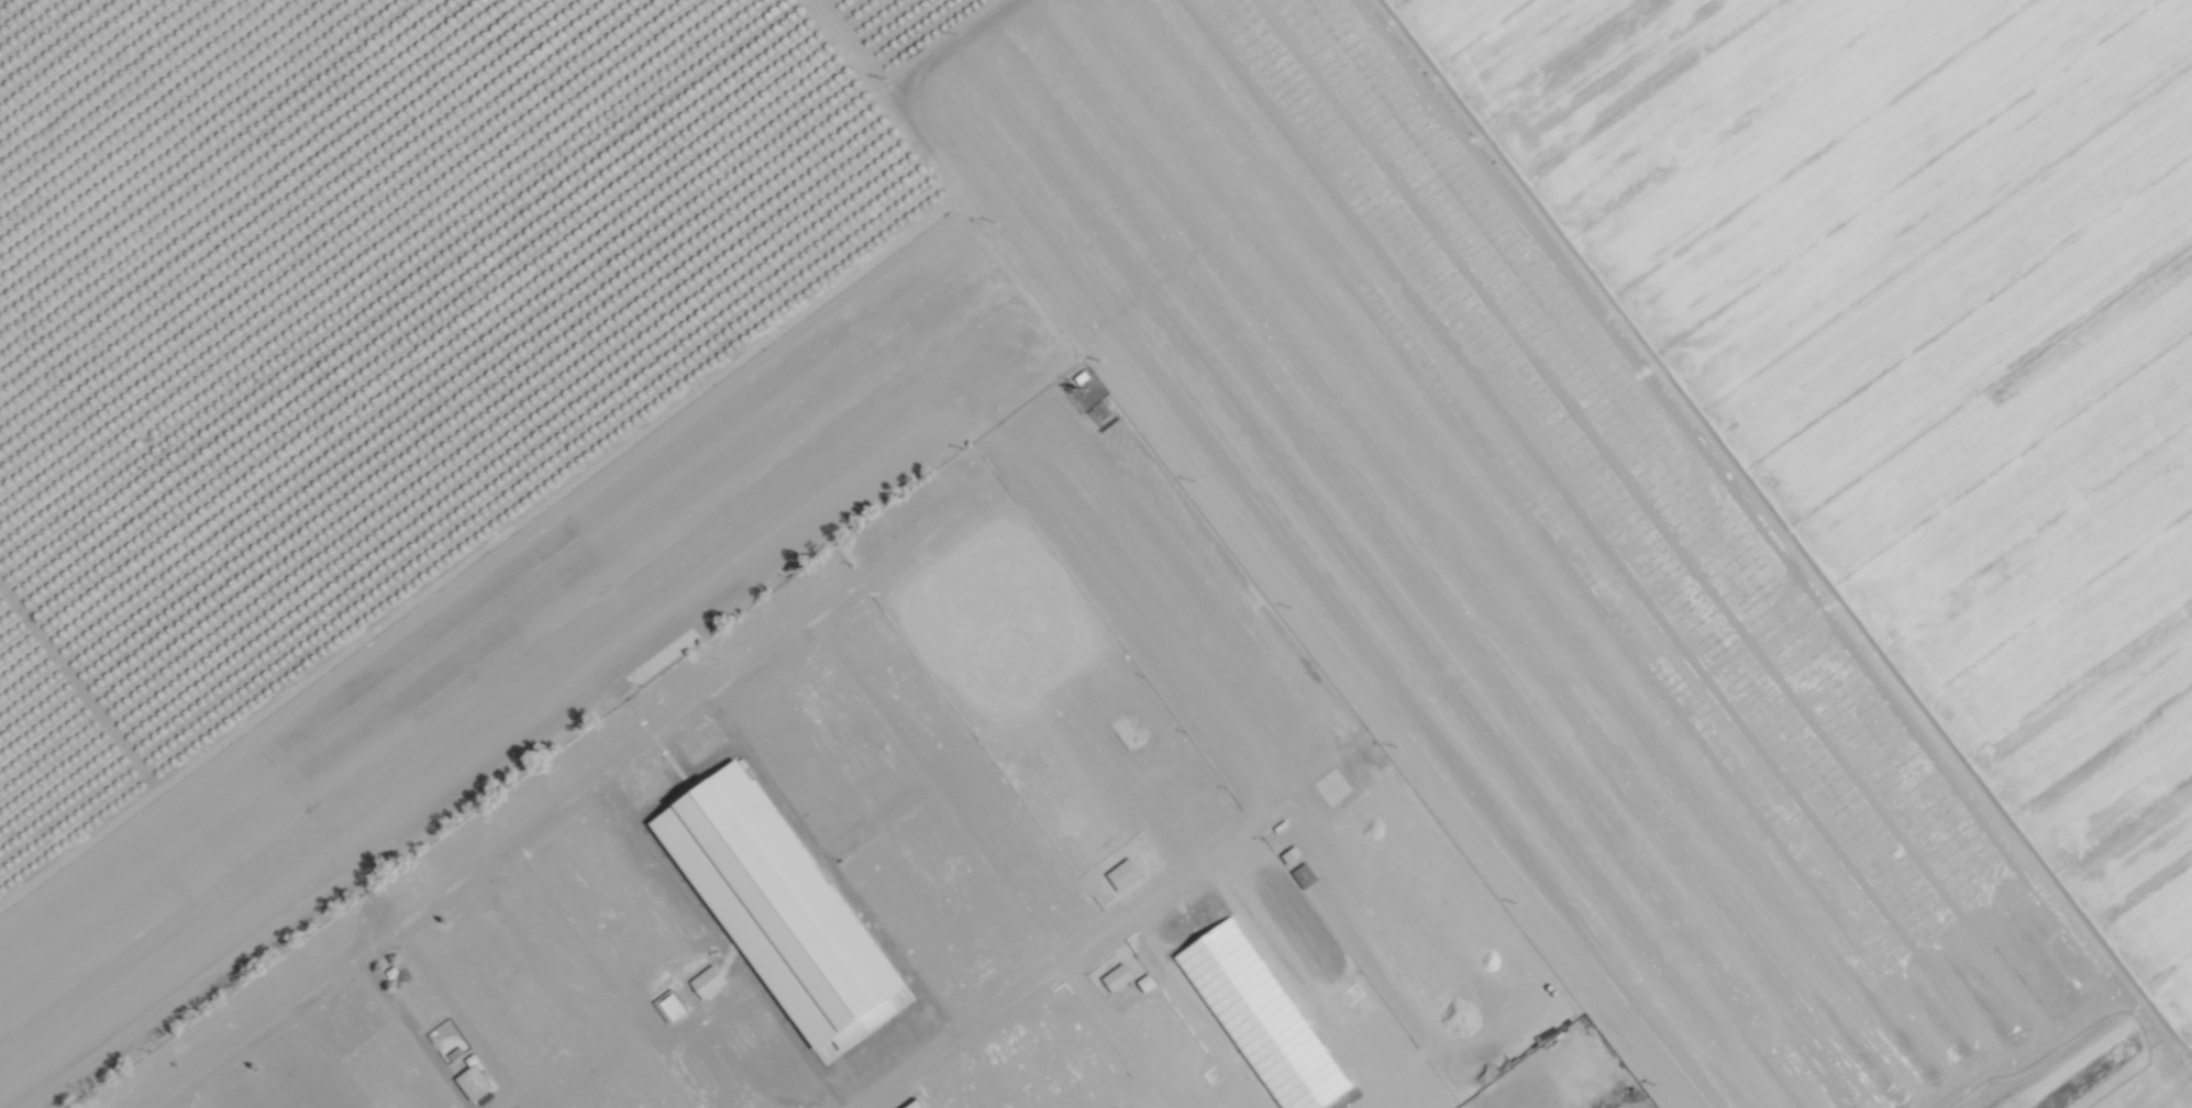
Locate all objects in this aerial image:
crop: (355, 279)
crop: (1877, 411)
crop: (1437, 555)
road: (514, 728)
building: (1303, 875)
building: (739, 906)
building: (1225, 967)
building: (1115, 977)
building: (705, 982)
road: (1012, 1006)
building: (1299, 1068)
road: (1007, 1072)
building: (470, 1082)
building: (912, 1104)

